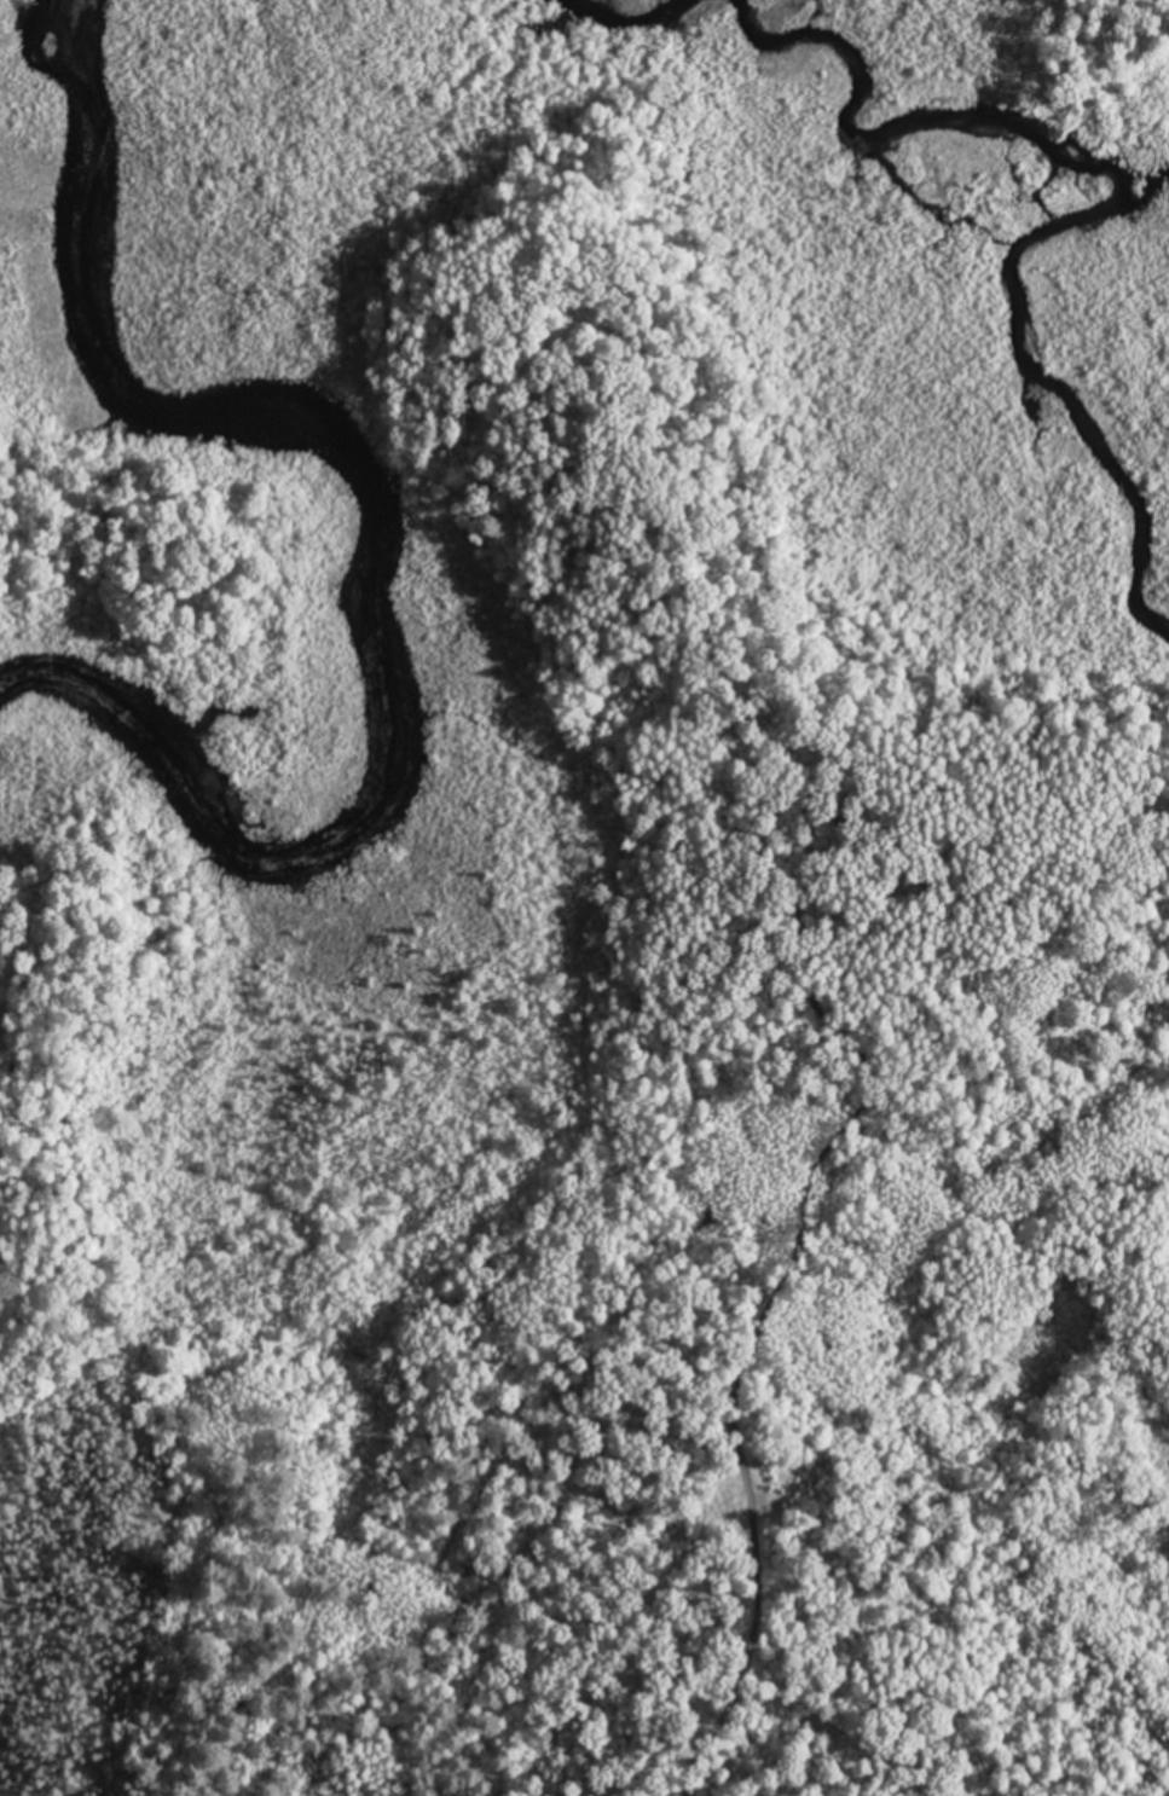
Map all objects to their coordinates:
road: (766, 1465)

